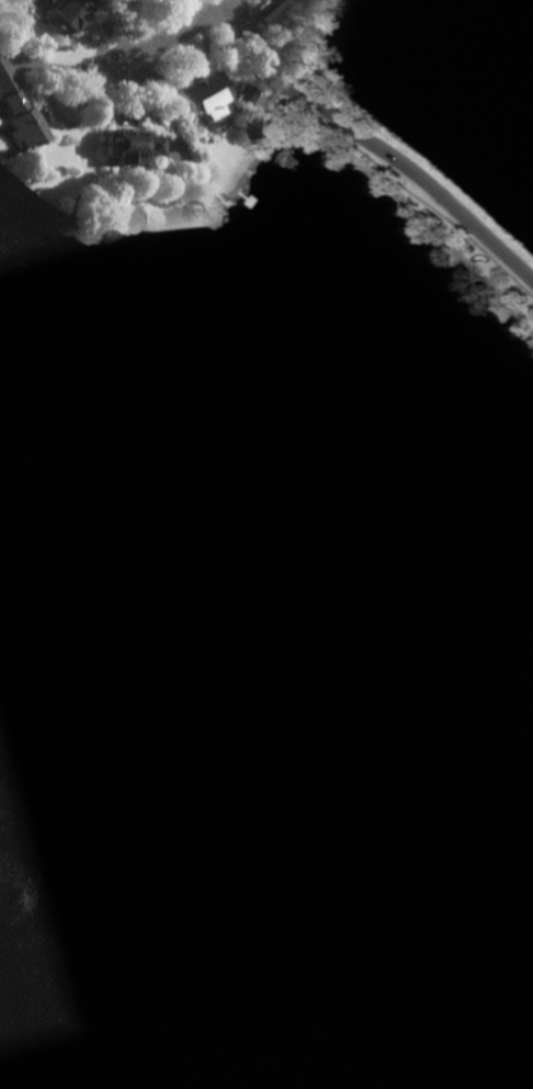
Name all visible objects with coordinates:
building: (65, 15)
road: (173, 38)
building: (203, 95)
building: (243, 95)
building: (16, 115)
building: (264, 128)
road: (373, 141)
building: (132, 146)

